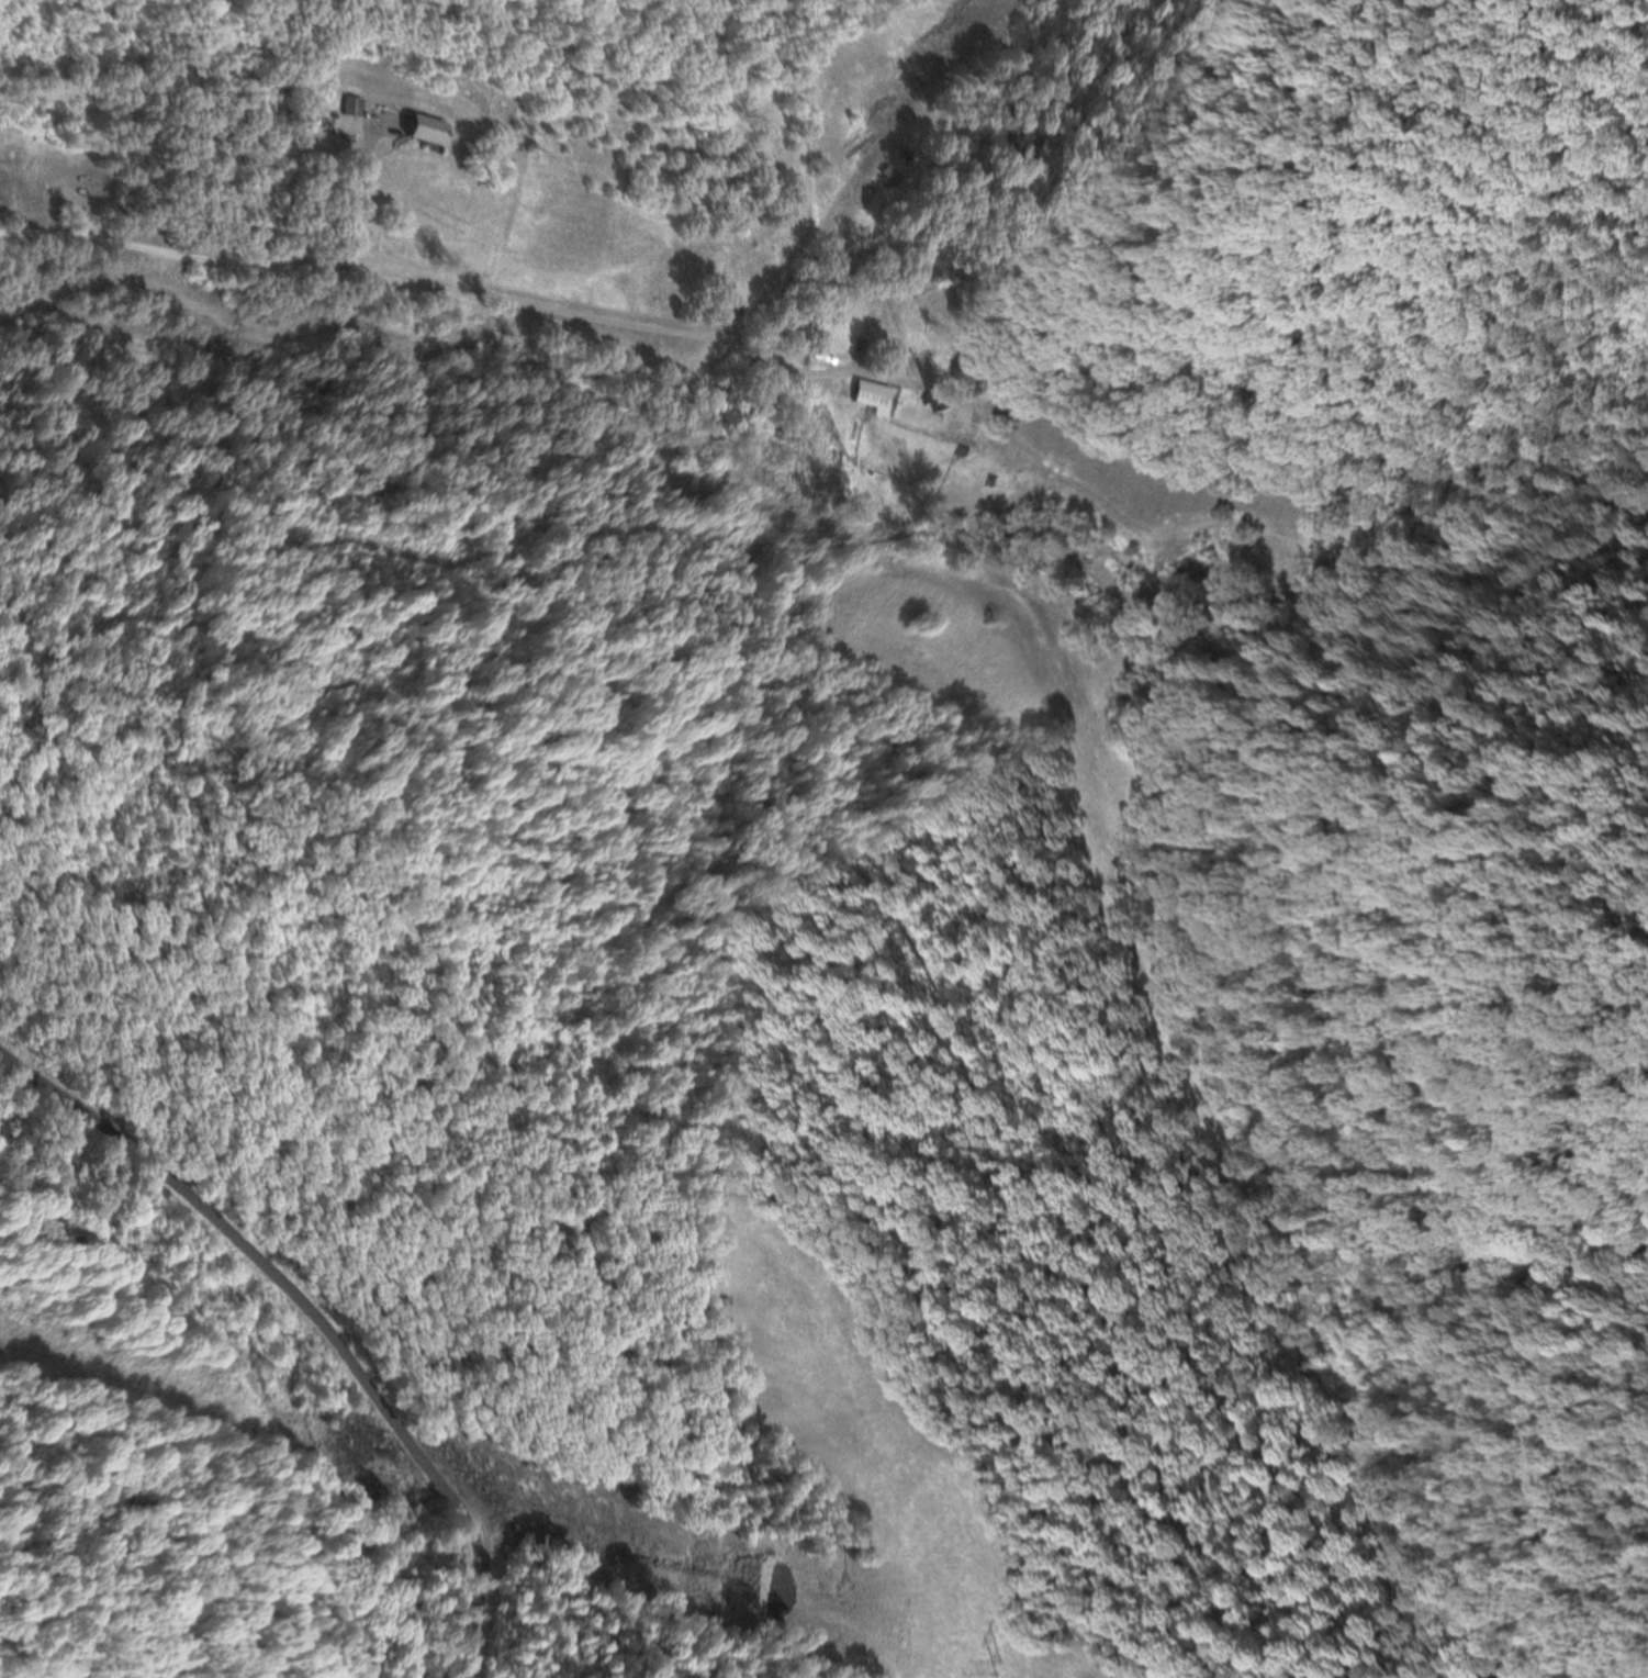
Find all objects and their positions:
road: (354, 198)
road: (451, 289)
road: (312, 1324)
power tower: (995, 1667)

